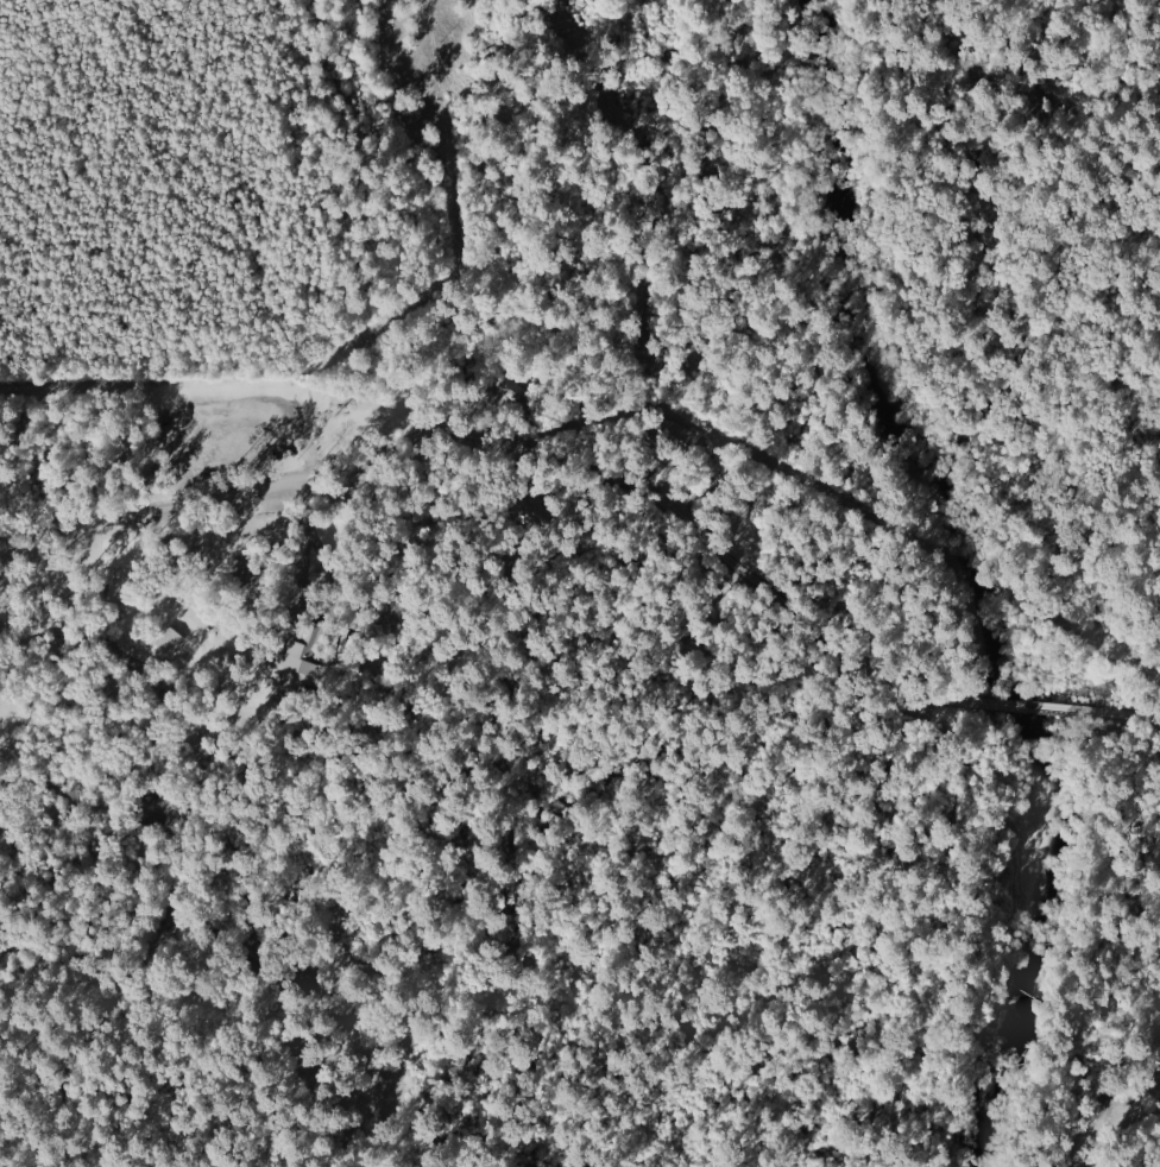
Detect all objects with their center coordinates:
road: (918, 226)
road: (1123, 370)
road: (499, 444)
road: (1126, 460)
river: (989, 579)
building: (171, 641)
building: (295, 668)
road: (1025, 706)
road: (1137, 715)
road: (1117, 738)
road: (1036, 739)
road: (964, 740)
road: (175, 854)
road: (1122, 885)
road: (735, 992)

